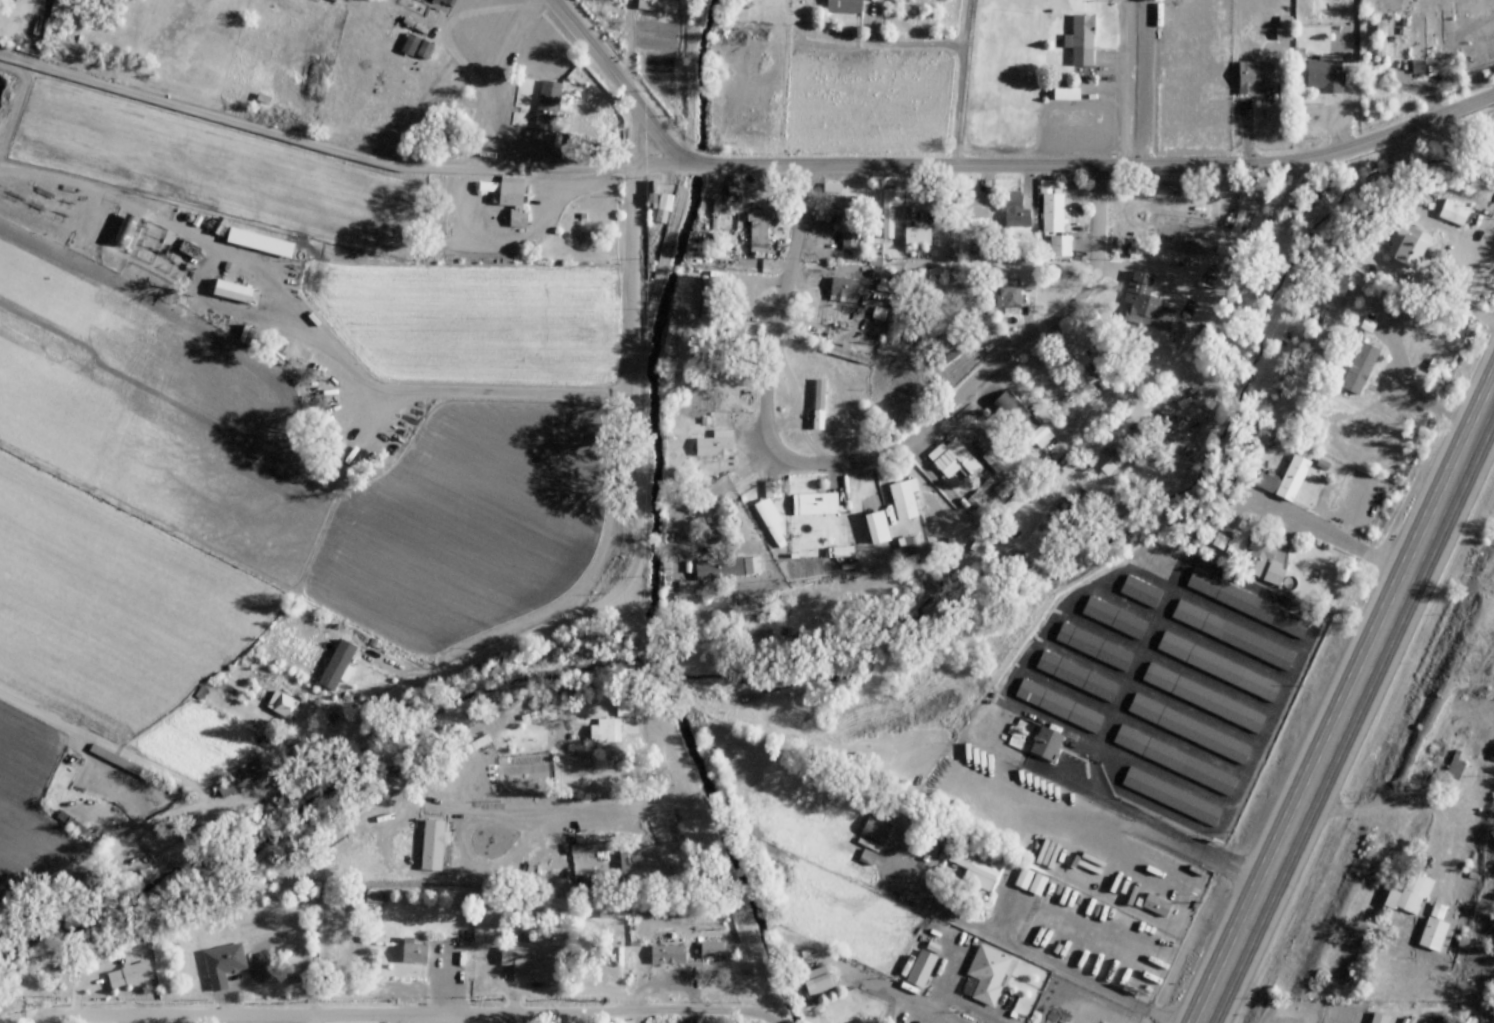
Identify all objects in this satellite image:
building: (440, 1)
building: (749, 3)
building: (656, 7)
building: (843, 7)
building: (1418, 36)
building: (1081, 40)
building: (1382, 40)
building: (410, 45)
building: (424, 50)
building: (1324, 74)
building: (1255, 78)
road: (619, 86)
road: (1123, 106)
building: (545, 130)
road: (1068, 165)
building: (505, 192)
building: (842, 206)
building: (973, 206)
building: (663, 209)
building: (1014, 210)
building: (889, 214)
building: (716, 215)
building: (1452, 215)
building: (1244, 216)
building: (517, 220)
building: (1054, 220)
building: (125, 230)
building: (759, 232)
building: (917, 236)
building: (849, 241)
building: (259, 242)
building: (1408, 246)
building: (189, 250)
building: (881, 274)
building: (843, 289)
building: (232, 293)
building: (1009, 296)
building: (706, 299)
road: (1439, 312)
building: (879, 314)
building: (1149, 314)
road: (772, 321)
building: (953, 349)
building: (1093, 362)
road: (985, 368)
building: (1359, 369)
building: (818, 405)
building: (1022, 420)
building: (1291, 434)
building: (715, 445)
building: (994, 460)
building: (954, 461)
building: (1112, 464)
building: (1284, 482)
building: (903, 499)
building: (814, 504)
building: (771, 513)
building: (1263, 562)
building: (727, 569)
building: (1140, 592)
building: (1247, 605)
building: (1113, 618)
building: (1233, 636)
building: (1093, 647)
road: (494, 649)
river: (817, 657)
road: (1351, 665)
building: (1217, 668)
building: (337, 670)
building: (1076, 677)
building: (1203, 699)
road: (1361, 703)
building: (283, 706)
building: (1058, 707)
building: (1188, 730)
building: (605, 731)
building: (1045, 745)
building: (1173, 761)
building: (1453, 772)
building: (241, 781)
building: (1170, 798)
road: (1419, 802)
road: (697, 808)
building: (69, 822)
building: (875, 831)
building: (665, 844)
road: (1190, 844)
building: (593, 849)
building: (624, 869)
building: (975, 871)
building: (79, 883)
building: (1030, 884)
building: (1409, 897)
building: (374, 898)
building: (1155, 906)
building: (611, 911)
building: (1436, 938)
building: (413, 951)
building: (711, 951)
building: (666, 957)
building: (529, 965)
building: (222, 966)
building: (921, 969)
building: (129, 976)
building: (987, 976)
building: (817, 982)
road: (1192, 995)
road: (1222, 1004)
road: (388, 1014)
building: (1379, 1020)

